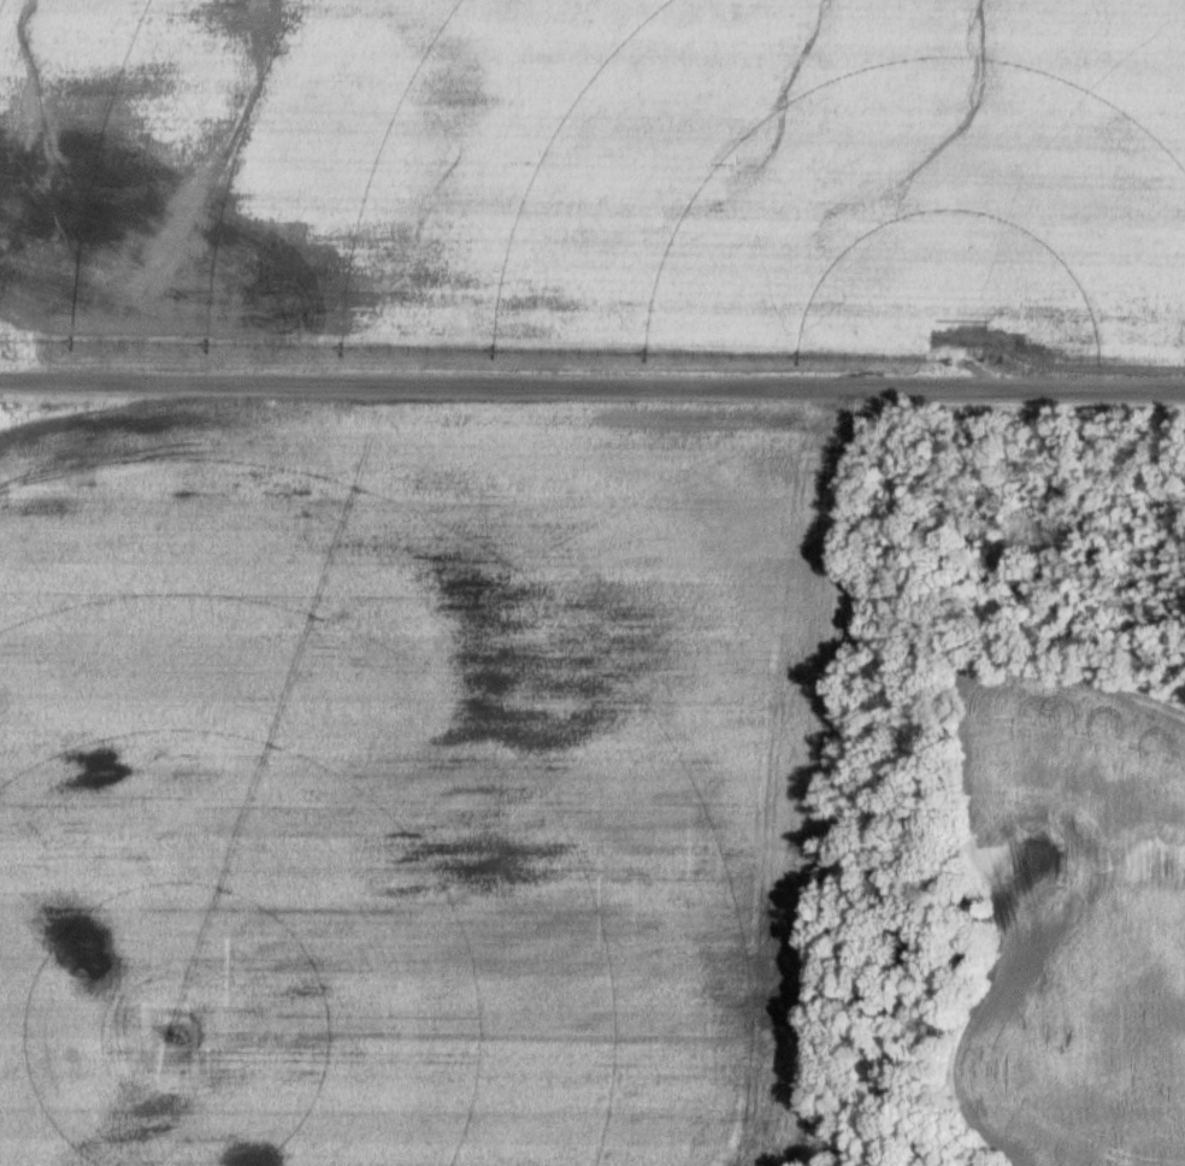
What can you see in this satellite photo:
road: (591, 385)

